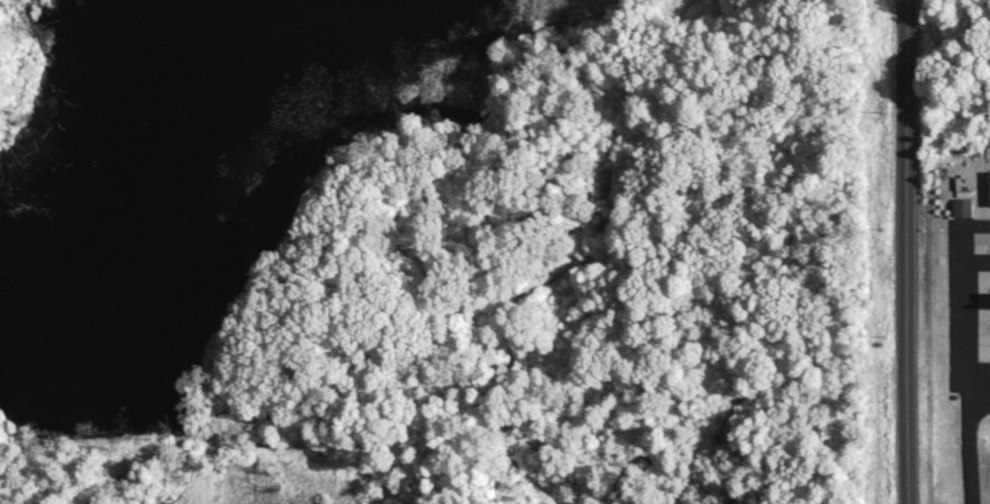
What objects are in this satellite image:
building: (989, 200)
building: (963, 206)
road: (906, 252)
road: (960, 292)
road: (979, 387)
road: (229, 395)
road: (333, 434)
road: (969, 446)
building: (407, 498)

